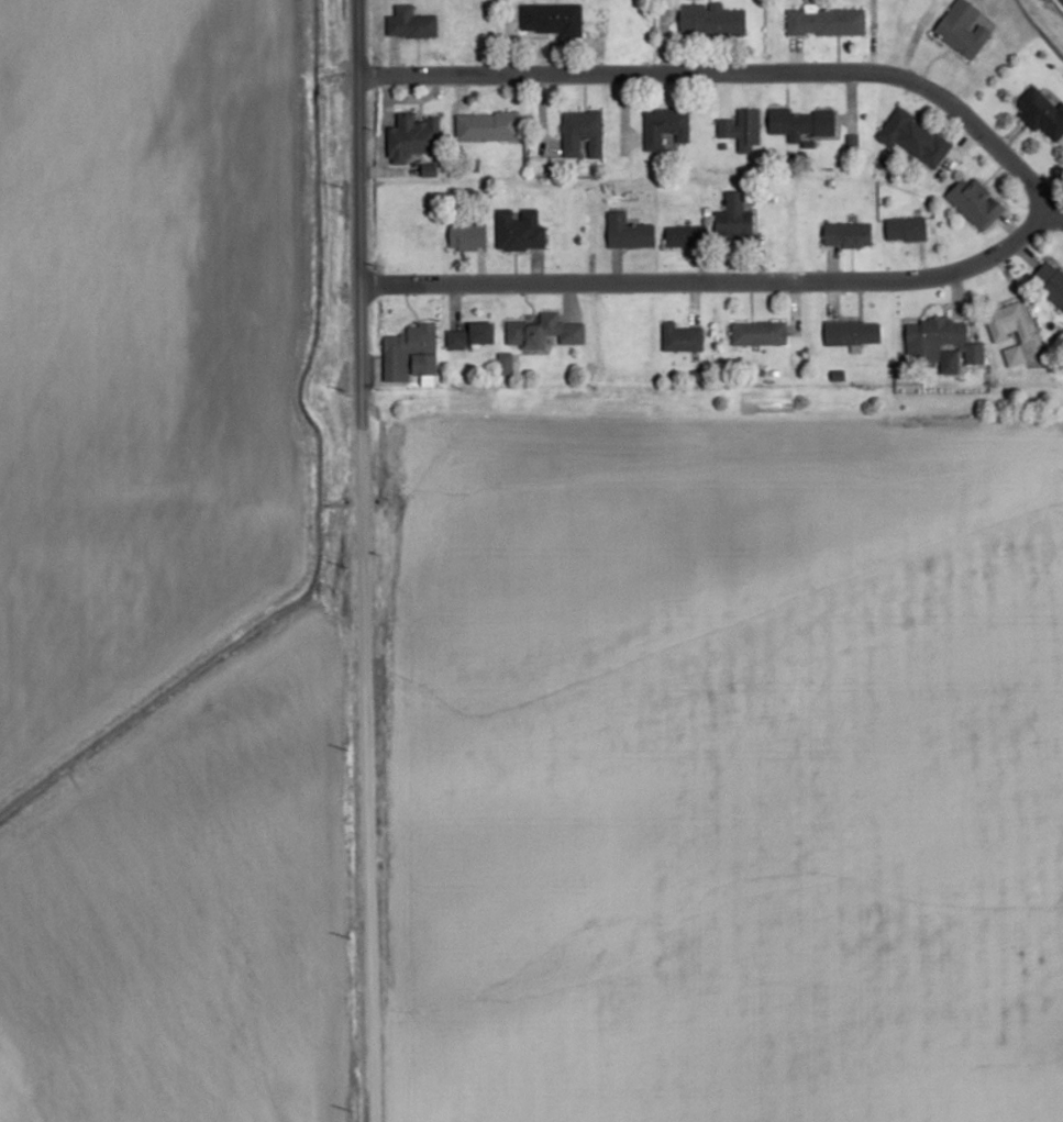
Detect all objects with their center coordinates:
building: (550, 19)
building: (710, 20)
building: (824, 21)
building: (410, 25)
building: (962, 29)
road: (733, 70)
building: (1040, 113)
building: (800, 122)
building: (486, 125)
building: (664, 126)
building: (741, 129)
building: (580, 133)
building: (410, 136)
building: (912, 136)
building: (975, 202)
building: (733, 219)
building: (905, 229)
building: (518, 230)
building: (627, 232)
building: (846, 234)
building: (466, 235)
building: (685, 235)
road: (711, 281)
building: (1050, 281)
building: (1007, 322)
building: (543, 331)
building: (851, 331)
building: (757, 332)
building: (470, 335)
building: (680, 337)
building: (939, 343)
building: (414, 346)
building: (1012, 355)
building: (503, 363)
road: (354, 560)

